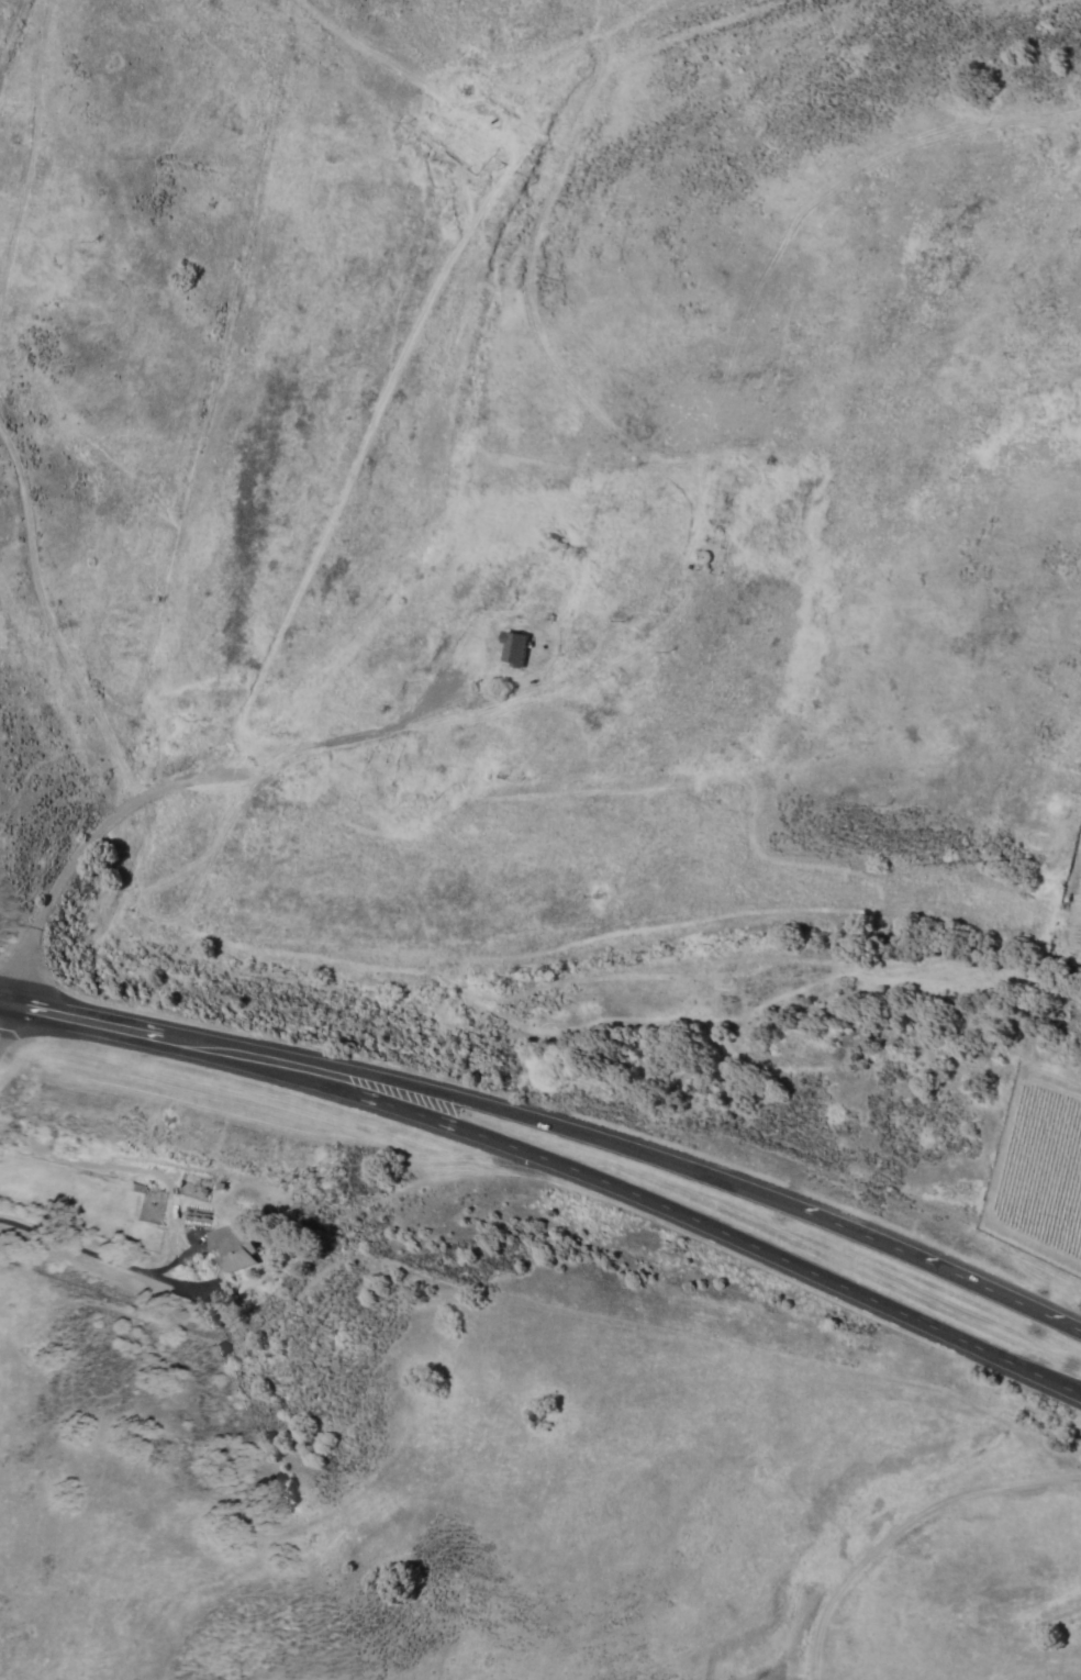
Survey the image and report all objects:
road: (417, 538)
building: (510, 647)
crop: (1079, 934)
road: (35, 1019)
road: (3, 1025)
road: (589, 1135)
road: (588, 1173)
building: (232, 1247)
road: (261, 1260)

